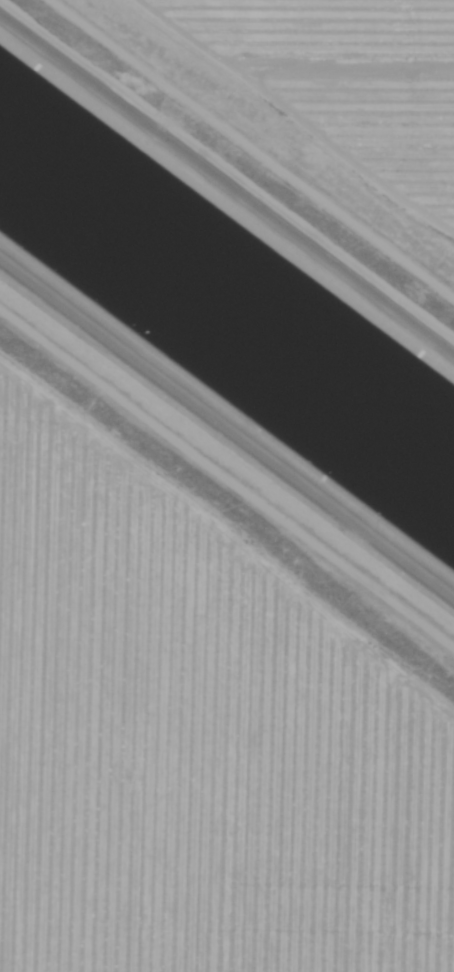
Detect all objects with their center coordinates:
crop: (294, 24)
road: (227, 473)
crop: (195, 747)

